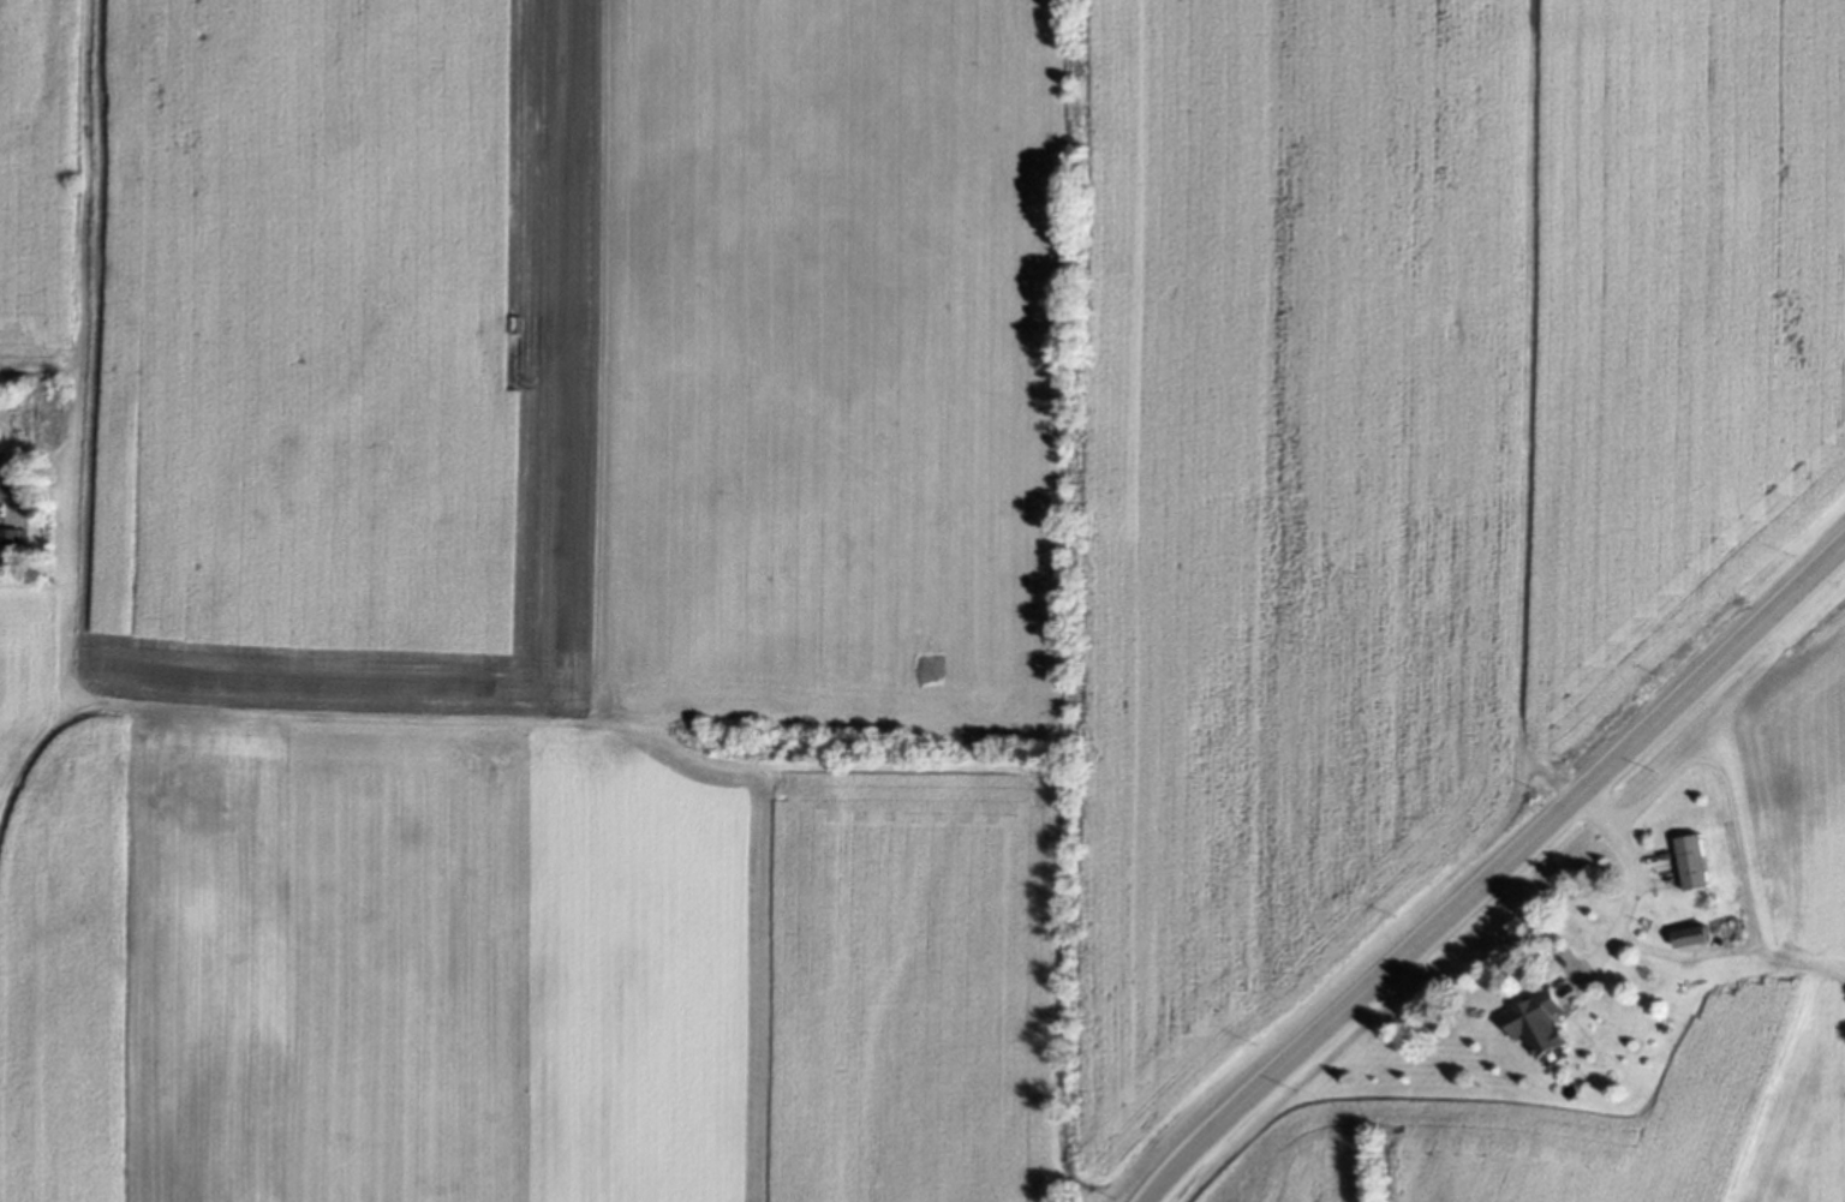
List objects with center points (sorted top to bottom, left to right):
road: (4, 490)
building: (10, 546)
building: (1690, 863)
road: (1742, 872)
road: (1495, 873)
building: (1688, 938)
building: (1533, 1023)

